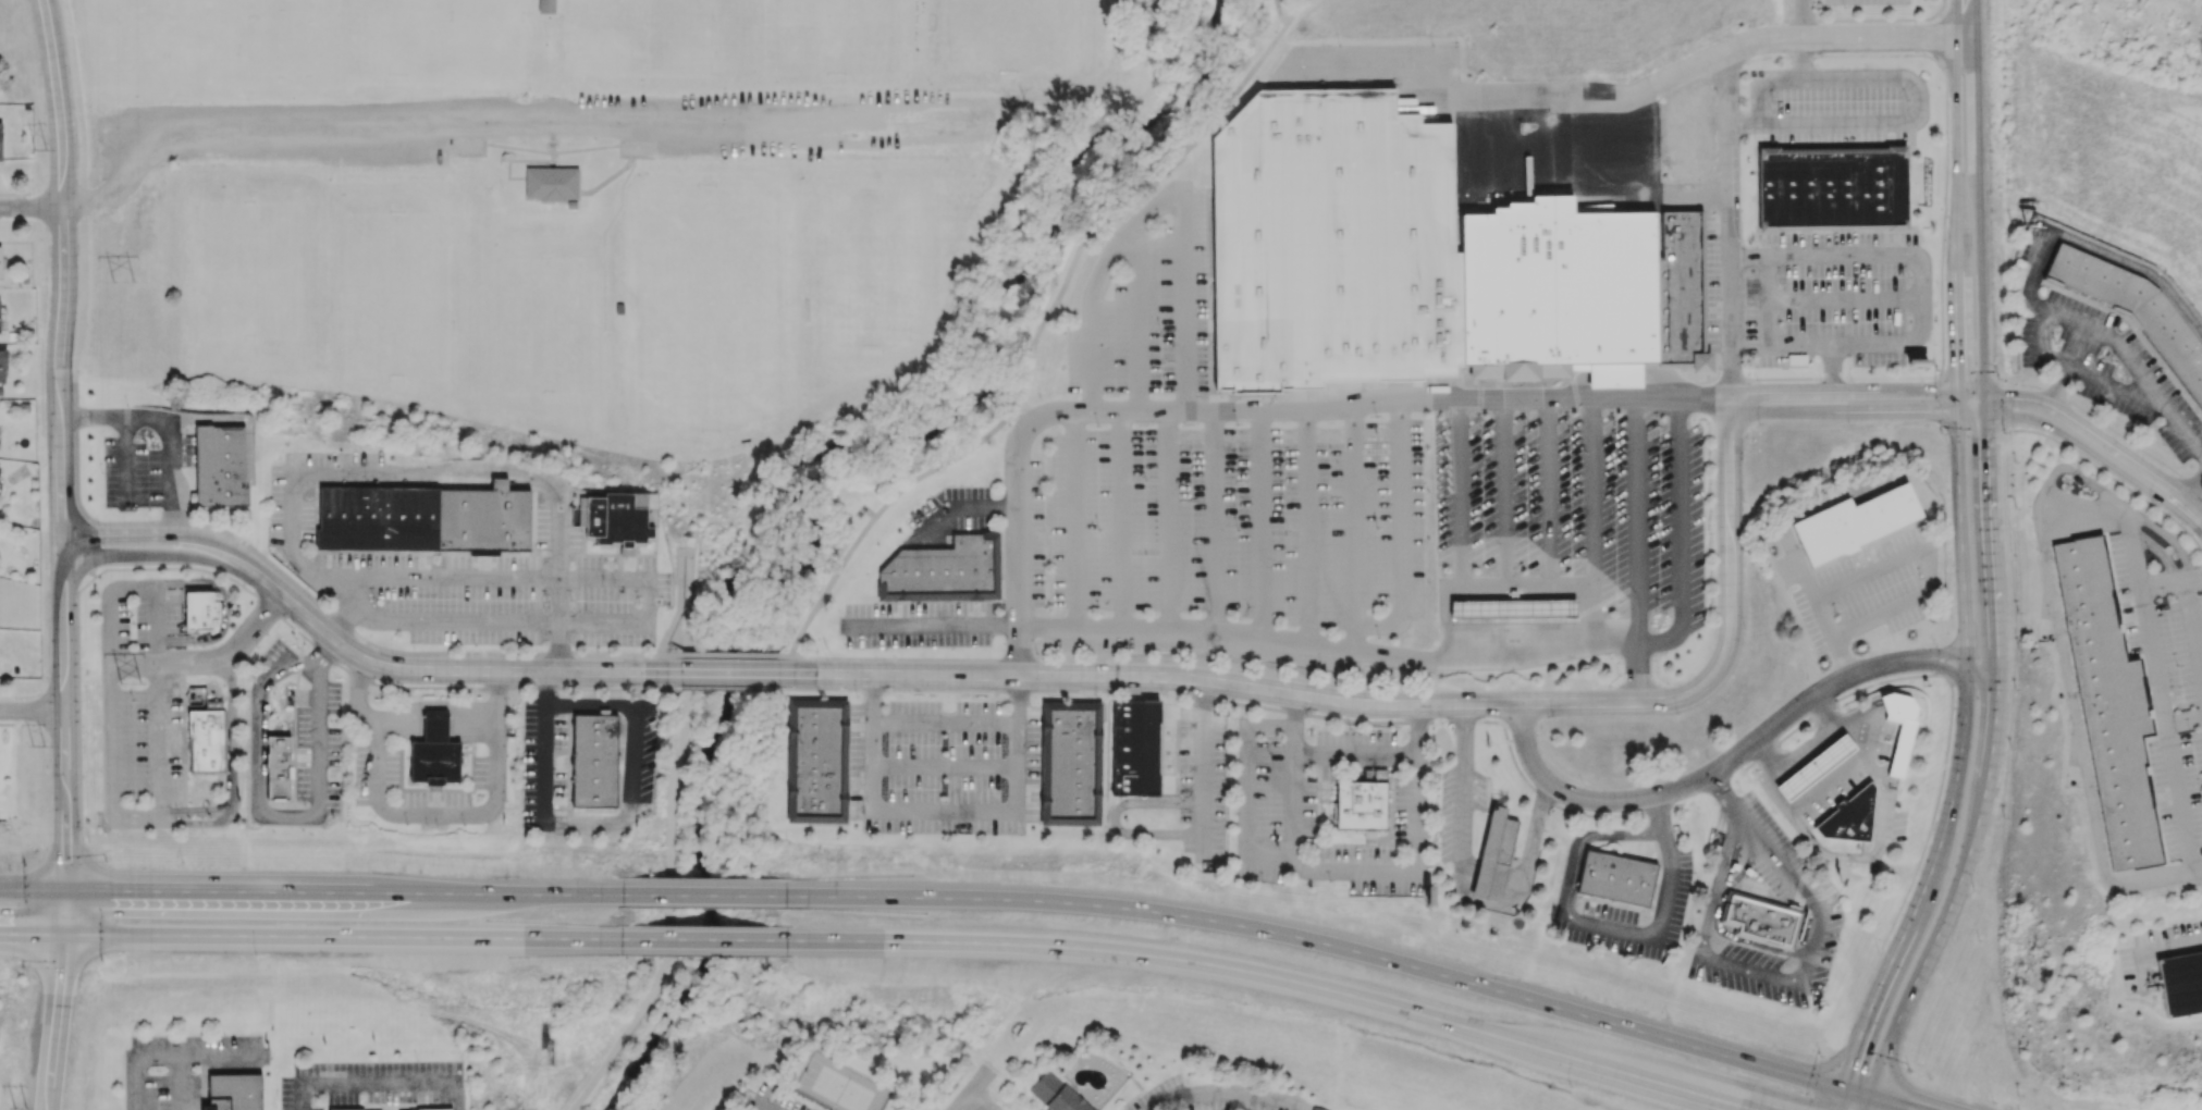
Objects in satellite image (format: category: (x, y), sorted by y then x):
building: (548, 7)
road: (1279, 13)
road: (1968, 18)
road: (1879, 20)
park: (1017, 29)
park: (639, 30)
park: (280, 36)
park: (431, 36)
park: (160, 37)
park: (828, 37)
road: (1846, 37)
road: (1801, 38)
road: (1833, 54)
road: (1103, 91)
road: (1919, 95)
road: (1499, 97)
road: (1957, 98)
parking lot: (1835, 104)
parking lot: (566, 127)
road: (587, 127)
building: (0, 141)
power tower: (41, 150)
road: (130, 159)
road: (1977, 166)
road: (1649, 174)
building: (553, 183)
road: (1756, 187)
building: (1835, 189)
road: (1944, 199)
road: (76, 203)
road: (32, 207)
park: (593, 209)
park: (663, 213)
park: (751, 213)
road: (1717, 223)
park: (876, 231)
road: (1130, 240)
building: (1334, 245)
road: (1745, 254)
building: (0, 262)
road: (1921, 262)
park: (663, 263)
park: (752, 263)
road: (1955, 276)
power tower: (128, 277)
parking lot: (1712, 282)
park: (538, 286)
building: (1682, 288)
park: (251, 289)
road: (88, 291)
building: (1561, 291)
park: (393, 292)
road: (1705, 294)
parking lot: (1836, 298)
road: (1844, 299)
parking lot: (1149, 301)
road: (1185, 304)
road: (1717, 309)
park: (664, 312)
park: (752, 312)
park: (877, 312)
building: (2135, 312)
road: (1142, 319)
road: (1042, 325)
road: (2088, 325)
building: (0, 330)
road: (1767, 330)
road: (1729, 342)
road: (59, 355)
road: (1982, 356)
road: (1093, 358)
park: (664, 360)
park: (753, 360)
building: (2, 366)
park: (540, 367)
road: (1830, 367)
road: (1965, 377)
building: (1619, 378)
road: (1811, 378)
road: (1623, 380)
road: (1995, 380)
road: (1557, 384)
road: (2121, 386)
road: (1842, 390)
road: (1523, 392)
traffic signals: (1956, 392)
road: (1970, 393)
traffic signals: (1984, 394)
road: (1242, 403)
park: (754, 408)
park: (666, 409)
road: (1253, 409)
road: (1842, 410)
traffic signals: (1957, 411)
traffic signals: (1984, 414)
road: (171, 421)
road: (2088, 430)
road: (2113, 430)
road: (2072, 439)
road: (123, 459)
parking lot: (148, 469)
building: (222, 469)
park: (894, 469)
road: (405, 474)
road: (2107, 474)
parking lot: (282, 484)
road: (2189, 488)
road: (2111, 496)
parking lot: (952, 508)
road: (2118, 509)
parking lot: (1572, 510)
road: (2189, 510)
building: (426, 520)
building: (619, 520)
road: (1167, 520)
road: (1214, 520)
road: (1078, 521)
road: (1123, 521)
road: (1594, 521)
road: (1632, 521)
building: (1853, 522)
road: (1262, 523)
road: (1307, 525)
road: (1355, 527)
road: (1548, 527)
road: (1505, 530)
road: (1463, 531)
road: (1989, 532)
parking lot: (1035, 533)
road: (182, 534)
road: (1400, 534)
parking lot: (1223, 539)
road: (2155, 547)
road: (682, 554)
road: (176, 555)
road: (1871, 567)
building: (944, 571)
road: (558, 576)
parking lot: (1863, 585)
parking lot: (499, 597)
road: (1816, 603)
building: (1512, 608)
road: (224, 610)
building: (202, 613)
road: (483, 620)
parking lot: (915, 624)
building: (1505, 628)
road: (350, 629)
road: (2191, 631)
road: (1381, 653)
road: (322, 654)
road: (671, 654)
road: (730, 654)
road: (1944, 654)
road: (785, 655)
road: (1116, 659)
road: (110, 665)
road: (1951, 669)
road: (2065, 669)
road: (468, 670)
power tower: (134, 673)
road: (731, 673)
road: (1635, 675)
road: (368, 679)
road: (730, 687)
road: (1152, 690)
road: (1280, 692)
road: (1967, 693)
road: (1200, 694)
parking lot: (147, 698)
building: (196, 698)
road: (2160, 701)
road: (589, 703)
building: (2111, 705)
road: (1988, 711)
road: (33, 712)
road: (79, 712)
road: (1828, 712)
road: (364, 713)
road: (2182, 718)
road: (496, 720)
road: (435, 723)
road: (254, 724)
building: (436, 725)
building: (1898, 728)
road: (1829, 736)
building: (208, 743)
building: (1136, 747)
power tower: (40, 748)
parking lot: (637, 755)
building: (595, 760)
road: (319, 762)
building: (436, 762)
building: (820, 762)
building: (1073, 762)
parking lot: (544, 763)
road: (1991, 764)
parking lot: (945, 766)
road: (231, 767)
building: (1819, 767)
gas station: (1819, 767)
building: (280, 768)
parking lot: (481, 770)
road: (1844, 770)
parking lot: (377, 772)
road: (1292, 773)
road: (1707, 775)
road: (1200, 778)
road: (1769, 780)
road: (1882, 780)
parking lot: (1203, 781)
road: (673, 784)
parking lot: (433, 798)
road: (66, 801)
building: (1364, 806)
road: (1891, 807)
road: (942, 810)
parking lot: (1276, 810)
road: (1573, 810)
road: (433, 814)
road: (1112, 817)
building: (1852, 818)
road: (588, 825)
road: (196, 826)
road: (1582, 838)
building: (1500, 839)
road: (1416, 855)
road: (1745, 864)
building: (1616, 877)
road: (1489, 879)
building: (1490, 883)
traffic signals: (67, 892)
road: (318, 892)
road: (703, 893)
road: (1463, 893)
parking lot: (1670, 904)
road: (1666, 909)
building: (1762, 920)
road: (1717, 921)
traffic signals: (64, 934)
road: (318, 937)
road: (713, 938)
road: (1329, 945)
parking lot: (2156, 948)
road: (2152, 951)
road: (1761, 974)
road: (1278, 976)
building: (2180, 982)
road: (1910, 990)
road: (61, 1001)
road: (624, 1037)
road: (1858, 1045)
road: (160, 1052)
park: (622, 1076)
road: (971, 1077)
road: (381, 1081)
park: (841, 1090)
building: (233, 1091)
traffic signals: (1844, 1091)
building: (1055, 1093)
traffic signals: (1870, 1098)
road: (959, 1100)
road: (977, 1100)
road: (1226, 1102)
road: (1891, 1103)
road: (767, 1106)
power tower: (21, 1107)
building: (1317, 1108)
building: (361, 1109)
building: (434, 1109)

